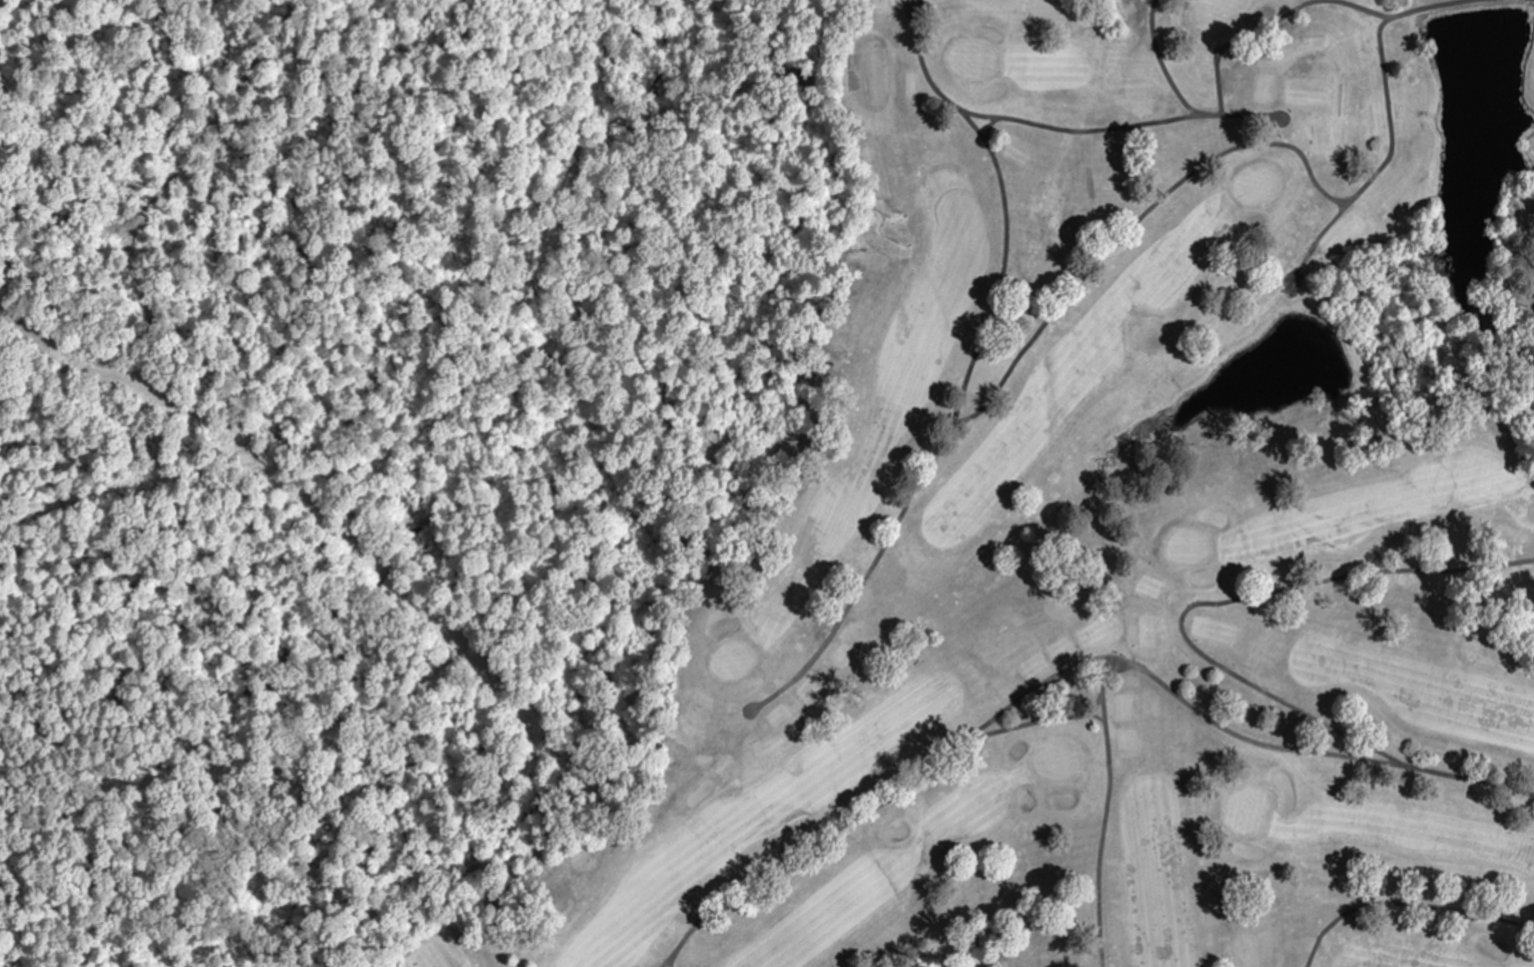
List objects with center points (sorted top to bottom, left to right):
park: (1079, 516)

